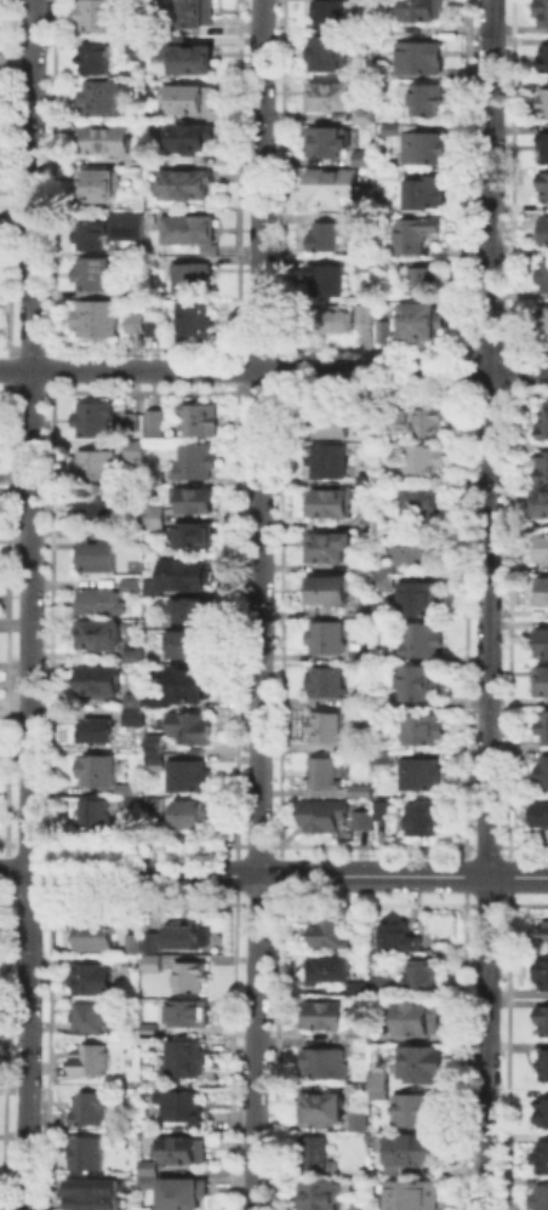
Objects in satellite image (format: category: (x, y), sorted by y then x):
building: (138, 1)
building: (424, 11)
building: (198, 13)
building: (543, 13)
building: (332, 16)
building: (99, 18)
building: (138, 52)
building: (333, 55)
building: (424, 59)
building: (98, 61)
building: (196, 61)
building: (546, 63)
building: (104, 101)
building: (195, 101)
building: (427, 101)
building: (342, 102)
building: (546, 105)
building: (193, 138)
building: (109, 142)
building: (331, 144)
building: (422, 145)
building: (546, 150)
building: (361, 156)
building: (155, 159)
building: (98, 187)
building: (185, 187)
building: (543, 188)
building: (337, 189)
building: (427, 194)
building: (129, 224)
building: (190, 232)
building: (544, 234)
building: (417, 235)
building: (330, 238)
building: (93, 239)
building: (378, 267)
building: (96, 275)
building: (546, 276)
building: (194, 280)
building: (329, 281)
building: (426, 282)
building: (135, 292)
building: (367, 315)
building: (92, 316)
building: (335, 319)
building: (133, 321)
building: (546, 321)
building: (421, 324)
building: (153, 325)
building: (194, 325)
building: (381, 330)
building: (389, 335)
road: (273, 371)
building: (370, 421)
building: (95, 422)
building: (147, 422)
building: (199, 422)
building: (327, 423)
building: (432, 423)
building: (544, 427)
building: (137, 452)
building: (196, 461)
building: (332, 461)
building: (427, 461)
building: (97, 467)
building: (543, 468)
building: (366, 474)
building: (389, 479)
building: (154, 480)
building: (428, 502)
building: (194, 503)
building: (542, 503)
building: (330, 504)
building: (96, 512)
building: (159, 516)
building: (196, 538)
building: (330, 549)
building: (546, 549)
building: (419, 552)
building: (98, 555)
building: (367, 569)
building: (182, 577)
building: (384, 583)
building: (132, 587)
building: (547, 590)
building: (329, 593)
building: (419, 601)
building: (101, 603)
road: (489, 604)
road: (29, 605)
road: (259, 605)
building: (193, 612)
building: (369, 612)
building: (99, 637)
building: (329, 638)
building: (423, 641)
building: (544, 645)
building: (193, 646)
building: (136, 656)
building: (363, 658)
building: (416, 681)
building: (101, 683)
building: (327, 684)
building: (542, 684)
building: (194, 685)
building: (136, 702)
building: (159, 702)
building: (137, 719)
building: (193, 730)
building: (329, 730)
building: (543, 730)
building: (97, 731)
building: (424, 731)
building: (158, 744)
building: (156, 763)
building: (103, 771)
building: (546, 775)
building: (327, 776)
building: (421, 776)
building: (189, 777)
building: (126, 789)
building: (363, 791)
building: (158, 804)
building: (131, 805)
building: (384, 814)
building: (96, 816)
building: (190, 816)
building: (540, 816)
building: (325, 818)
building: (423, 821)
building: (364, 822)
road: (274, 875)
building: (540, 930)
building: (92, 934)
building: (185, 935)
building: (335, 935)
building: (150, 940)
building: (400, 940)
building: (132, 941)
building: (133, 960)
building: (152, 960)
building: (333, 971)
building: (541, 971)
building: (189, 974)
building: (424, 975)
building: (90, 977)
building: (386, 984)
building: (363, 989)
building: (187, 1011)
building: (87, 1015)
building: (331, 1016)
building: (415, 1017)
building: (542, 1017)
building: (149, 1028)
building: (187, 1056)
building: (91, 1058)
building: (543, 1062)
building: (424, 1063)
building: (331, 1065)
building: (150, 1081)
building: (383, 1086)
building: (184, 1103)
building: (87, 1107)
building: (326, 1107)
building: (542, 1109)
building: (423, 1112)
building: (364, 1121)
building: (184, 1147)
building: (86, 1151)
building: (413, 1153)
building: (318, 1154)
building: (542, 1155)
building: (150, 1166)
building: (150, 1180)
building: (96, 1192)
building: (184, 1192)
building: (326, 1195)
building: (418, 1197)
building: (541, 1197)
building: (365, 1208)

